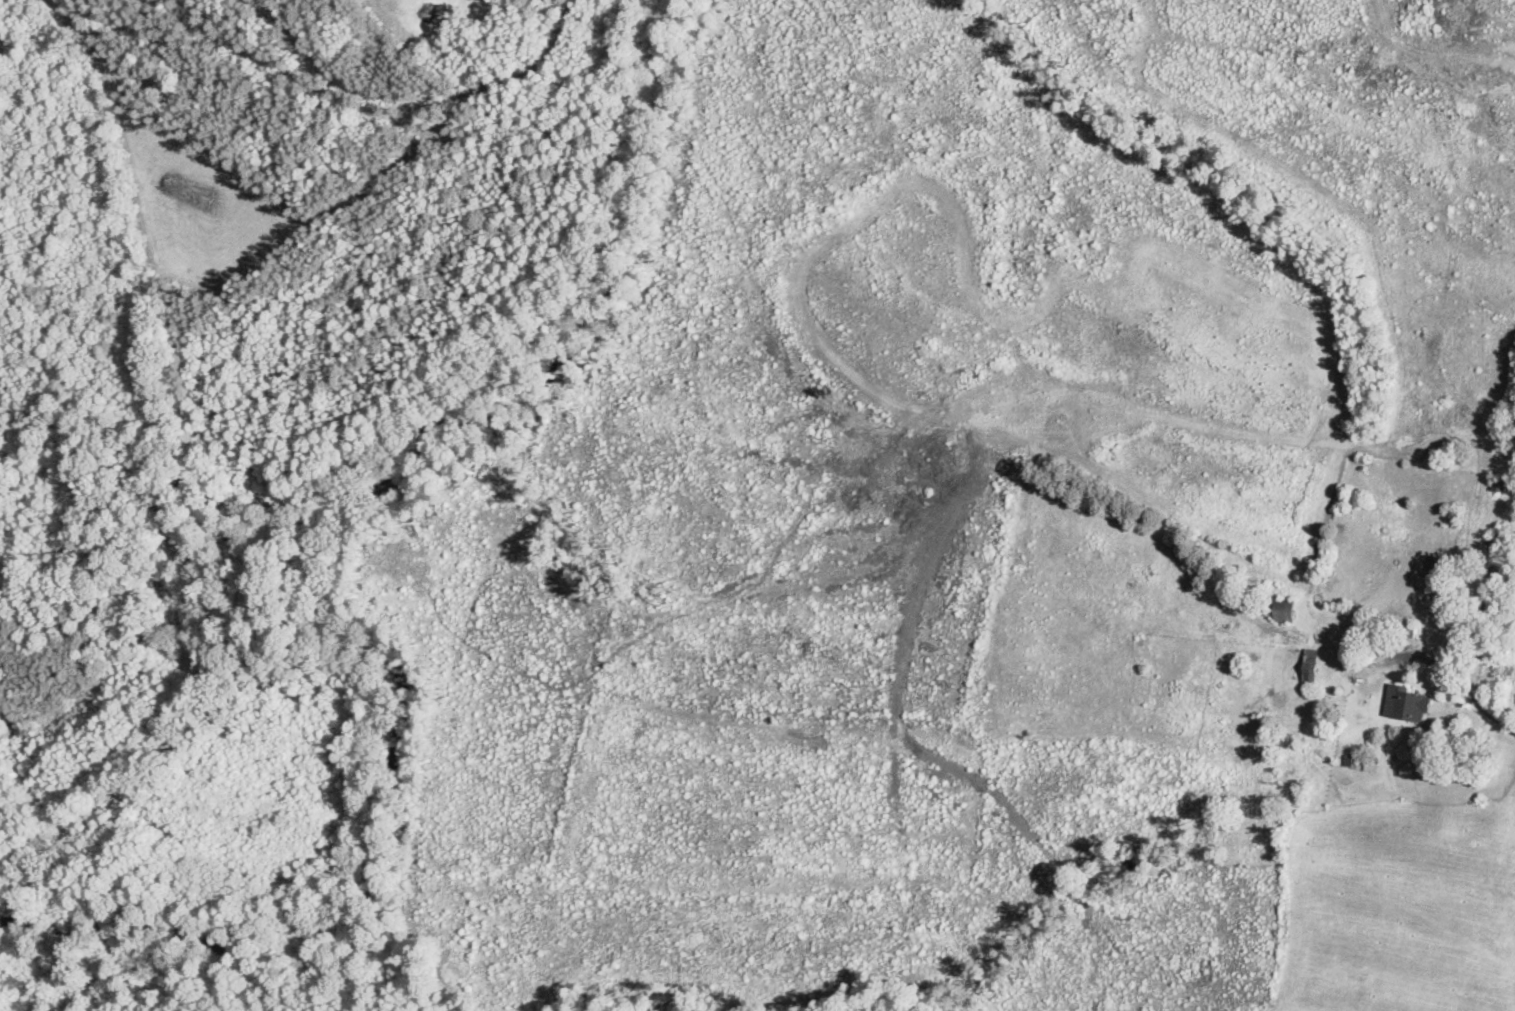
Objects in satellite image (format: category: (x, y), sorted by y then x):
road: (340, 132)
building: (1450, 519)
building: (1281, 610)
building: (1308, 668)
road: (1471, 698)
building: (1406, 705)

